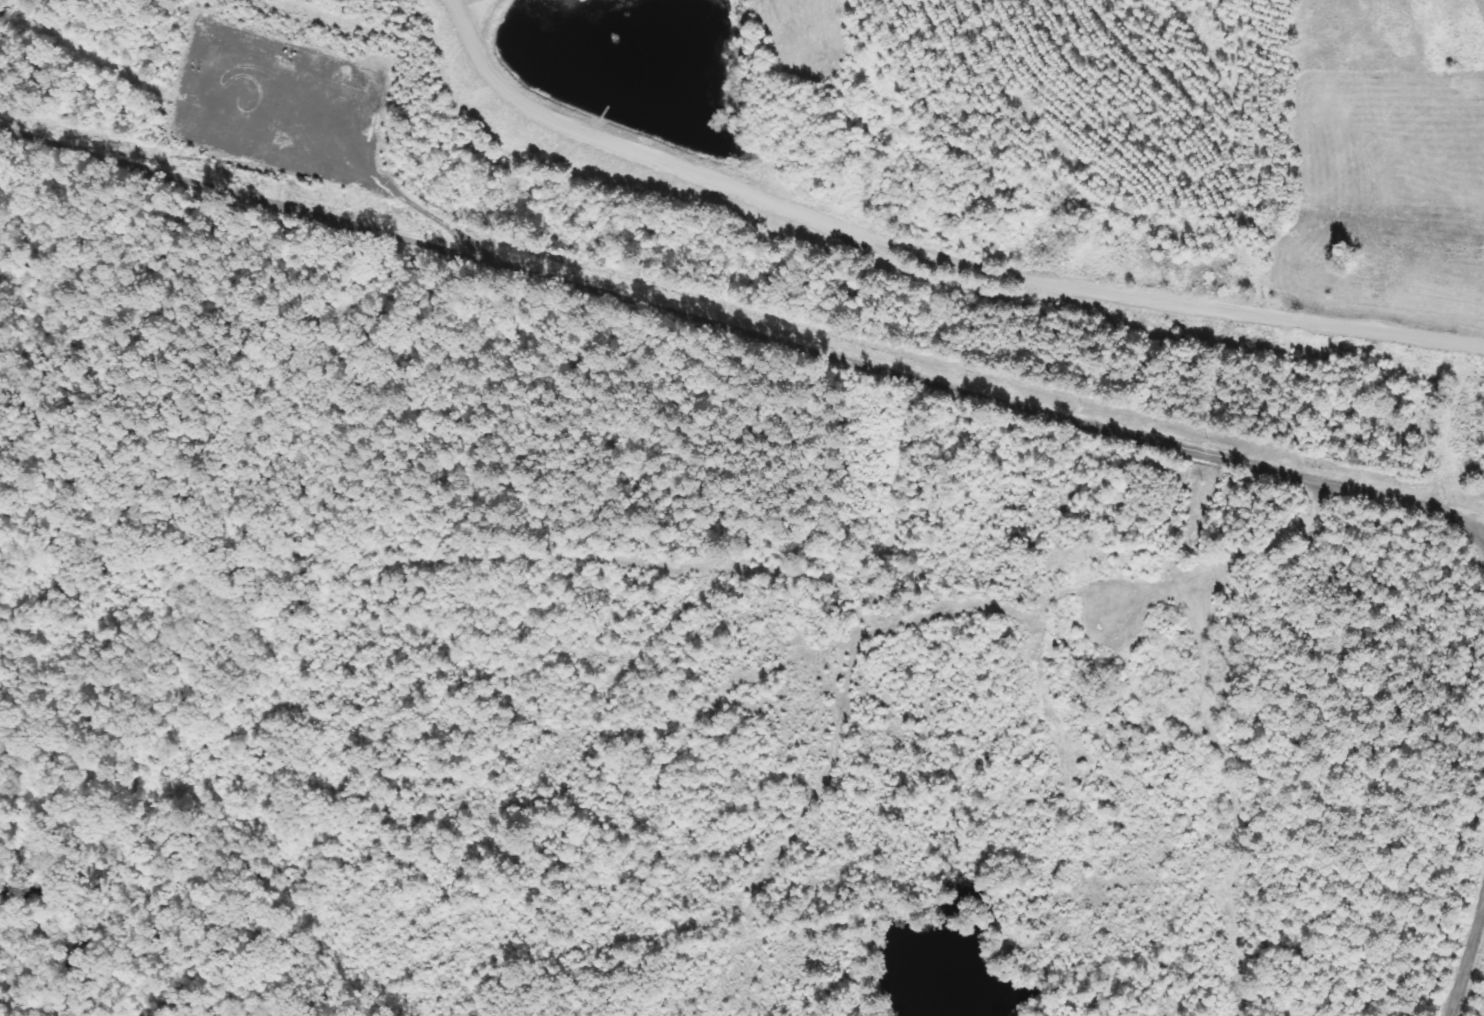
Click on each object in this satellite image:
road: (741, 328)
road: (1466, 958)

